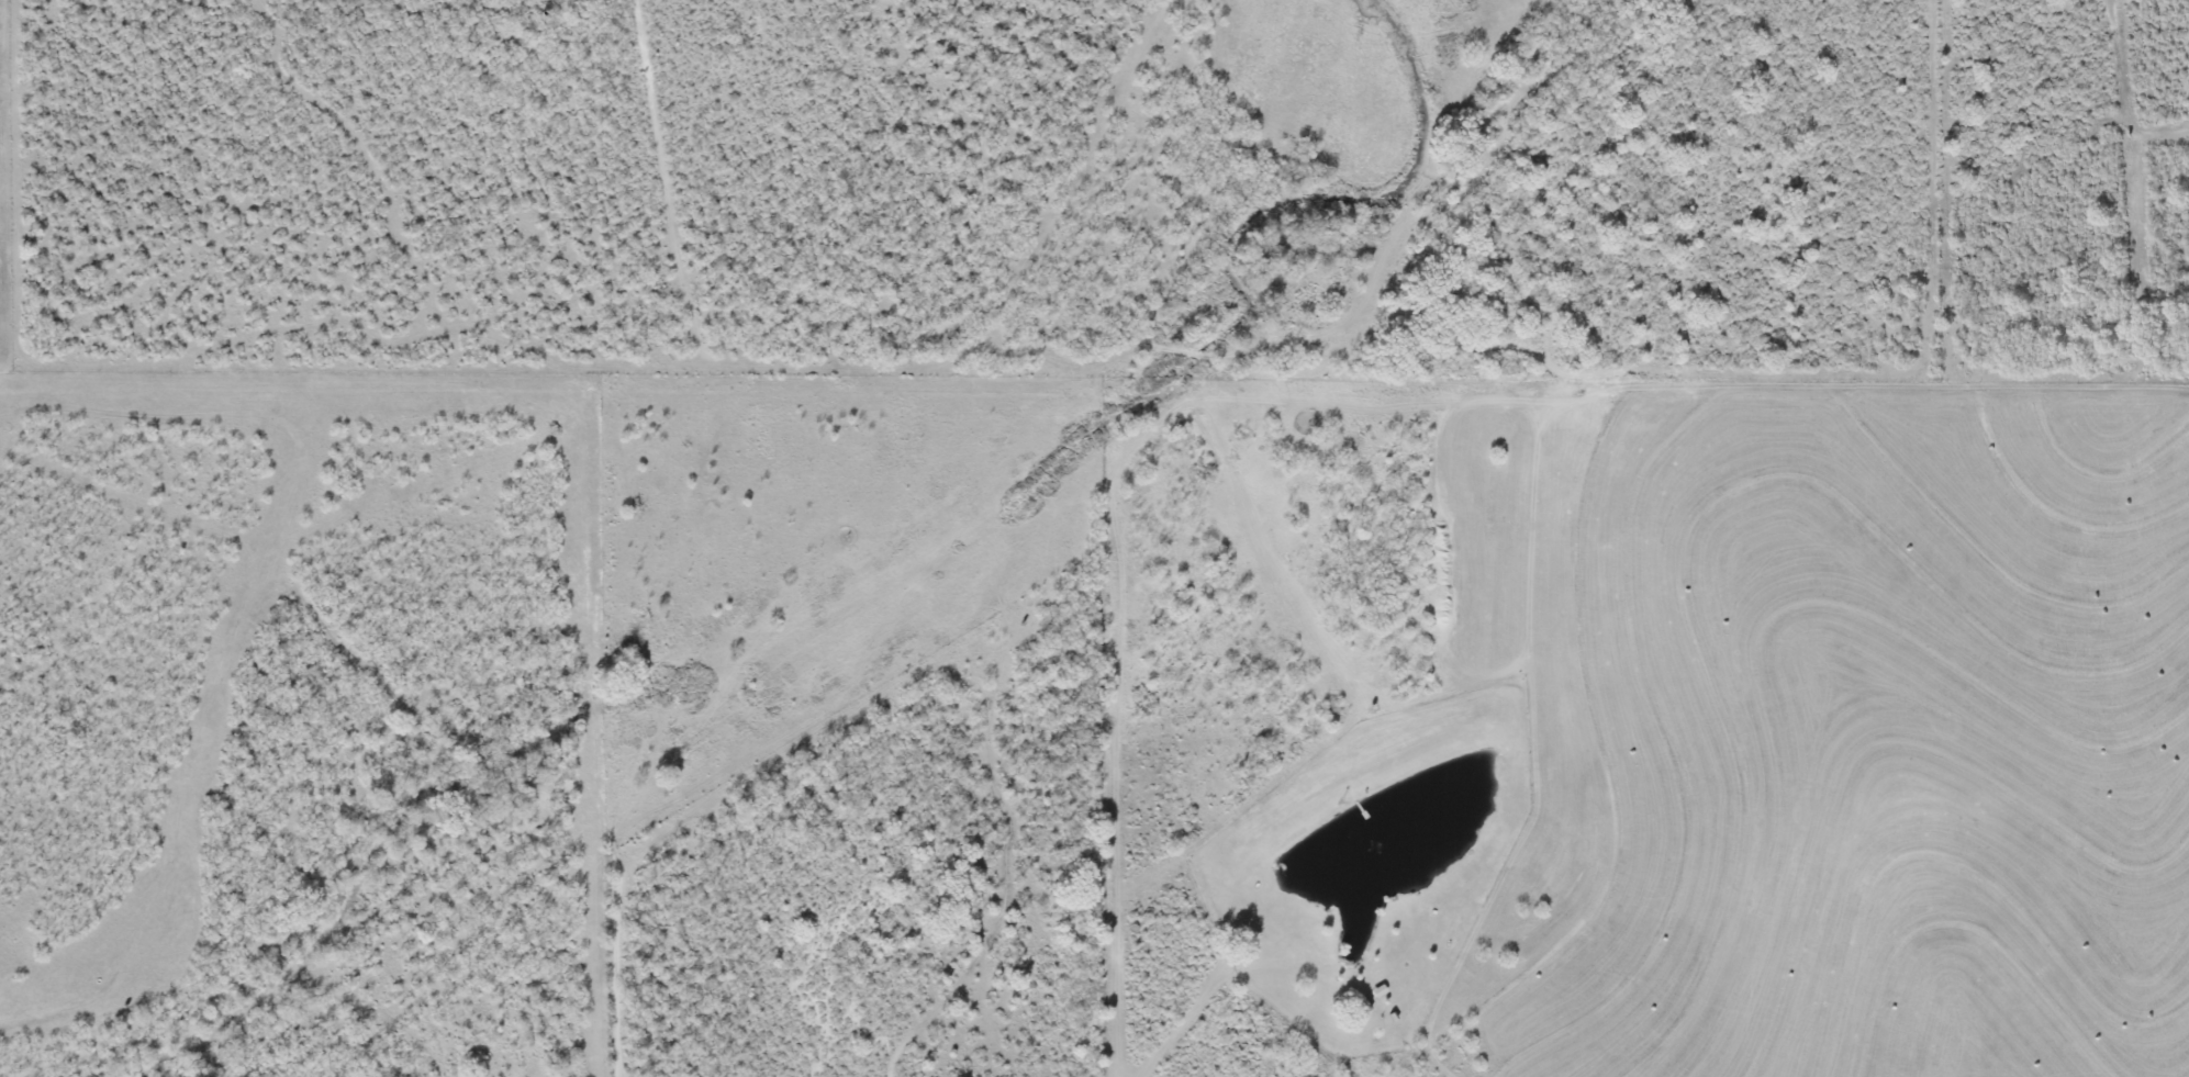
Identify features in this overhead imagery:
river: (901, 632)
pier: (1361, 803)

